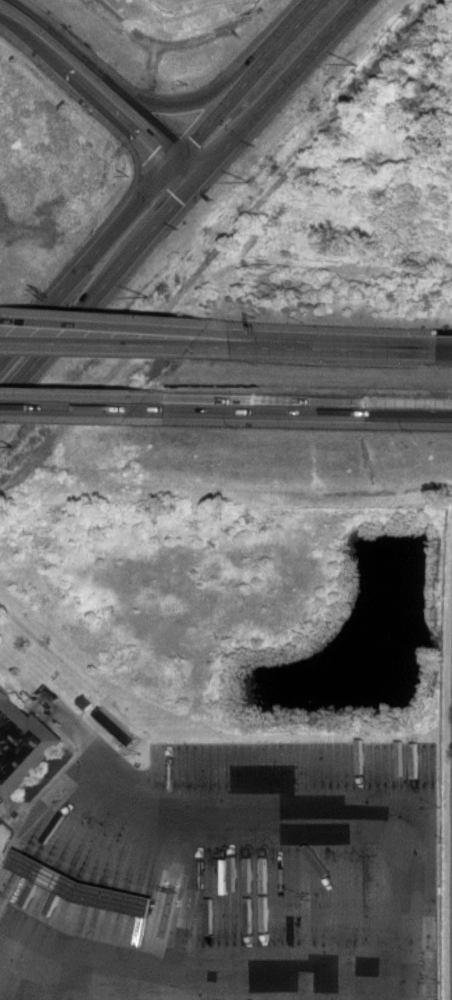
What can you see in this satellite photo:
road: (87, 88)
road: (153, 108)
road: (142, 117)
road: (192, 162)
road: (160, 176)
road: (177, 178)
road: (178, 198)
road: (4, 323)
road: (98, 329)
road: (253, 340)
road: (91, 347)
road: (317, 347)
road: (73, 405)
road: (299, 407)
road: (90, 738)
building: (22, 744)
road: (373, 799)
parking lot: (207, 855)
road: (168, 887)
building: (80, 889)
building: (205, 918)
road: (292, 970)
road: (421, 983)
road: (148, 987)

